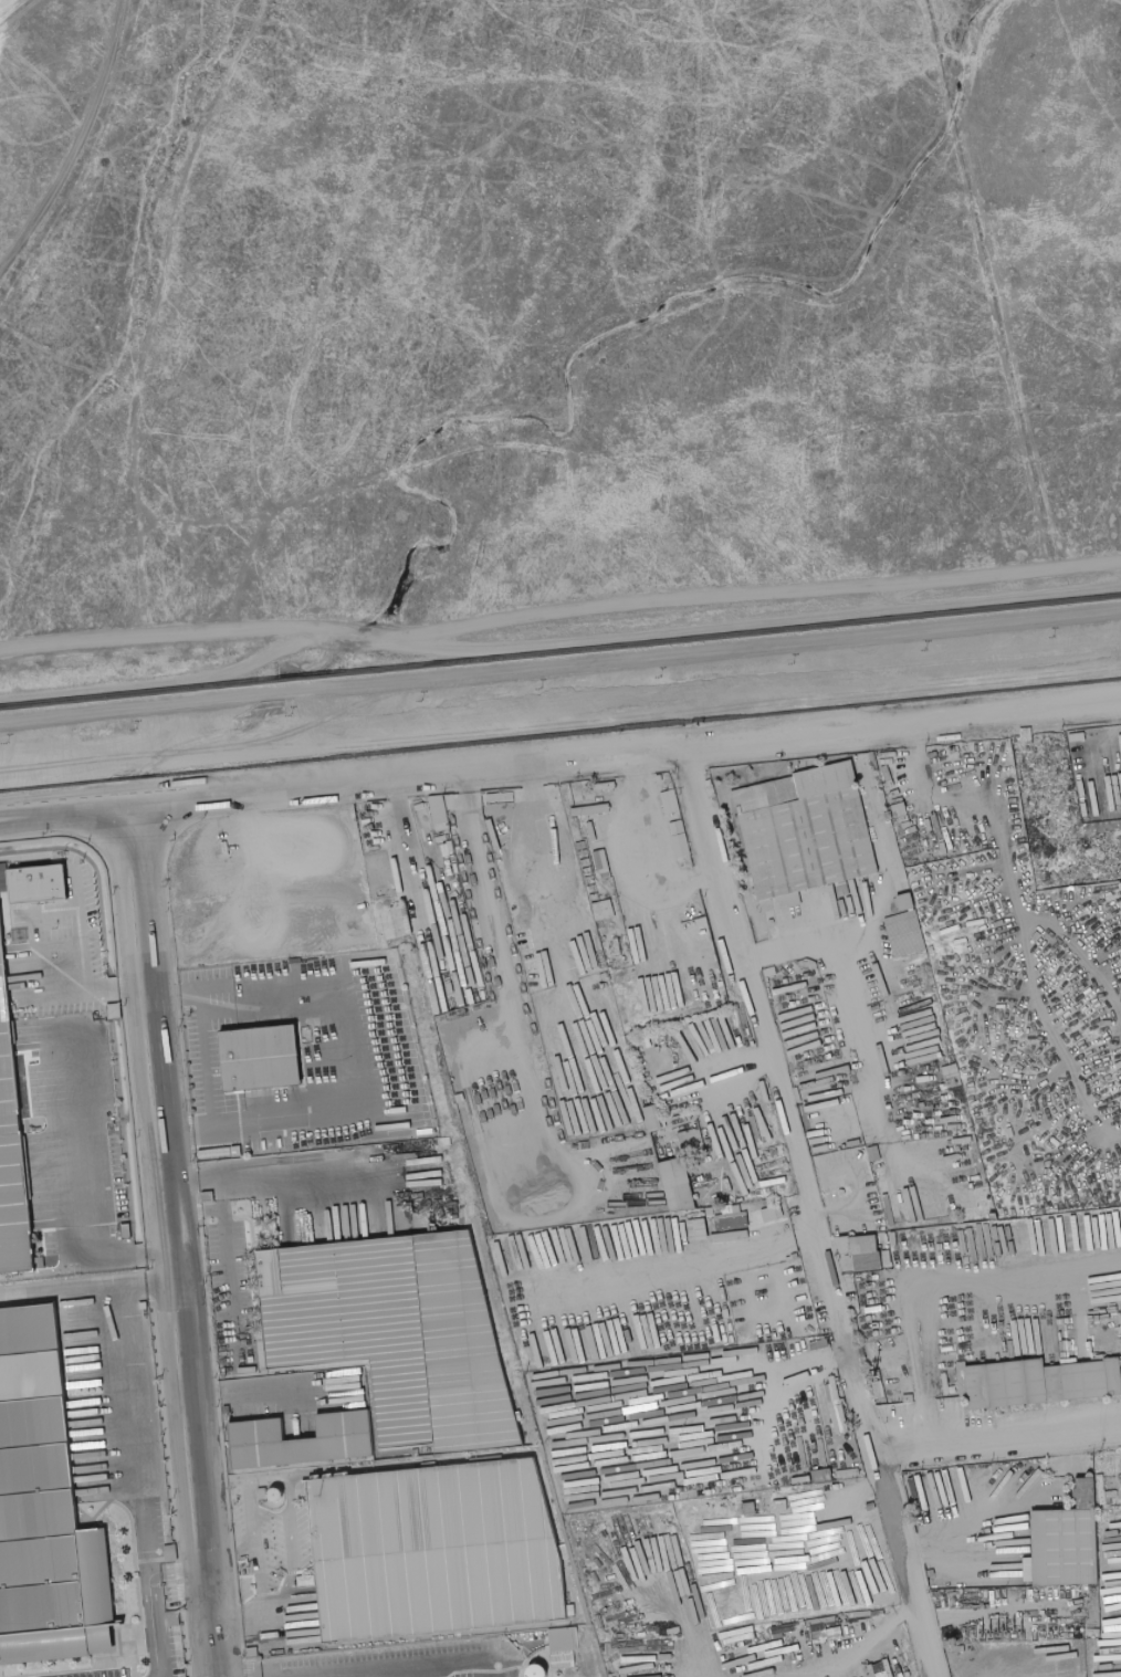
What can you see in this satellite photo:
road: (72, 144)
road: (511, 231)
road: (559, 611)
road: (741, 625)
road: (560, 662)
road: (184, 681)
road: (560, 720)
road: (632, 753)
road: (72, 814)
building: (443, 835)
building: (806, 862)
building: (586, 867)
building: (457, 882)
building: (39, 884)
building: (842, 888)
road: (151, 899)
building: (789, 899)
building: (596, 901)
building: (905, 901)
building: (604, 910)
building: (688, 914)
building: (772, 921)
building: (492, 926)
building: (905, 933)
road: (51, 944)
road: (78, 957)
building: (295, 960)
road: (256, 988)
road: (168, 992)
building: (877, 1006)
building: (115, 1009)
building: (661, 1037)
building: (640, 1040)
road: (343, 1049)
building: (261, 1055)
parking lot: (203, 1058)
road: (207, 1060)
building: (448, 1060)
building: (952, 1076)
building: (942, 1086)
road: (780, 1099)
building: (858, 1099)
building: (653, 1118)
building: (45, 1120)
building: (687, 1121)
road: (271, 1122)
building: (663, 1122)
building: (11, 1133)
road: (166, 1133)
building: (692, 1141)
building: (904, 1143)
building: (235, 1151)
building: (874, 1153)
road: (87, 1177)
road: (276, 1180)
building: (853, 1180)
road: (207, 1184)
building: (678, 1184)
road: (171, 1186)
building: (206, 1197)
building: (777, 1210)
building: (993, 1216)
building: (733, 1220)
building: (342, 1227)
building: (127, 1230)
road: (153, 1244)
building: (880, 1247)
building: (866, 1252)
building: (847, 1255)
building: (838, 1256)
building: (36, 1268)
road: (228, 1271)
building: (860, 1275)
road: (56, 1292)
parking lot: (224, 1292)
building: (144, 1304)
building: (146, 1311)
building: (397, 1333)
road: (189, 1334)
building: (798, 1341)
building: (1037, 1382)
road: (273, 1394)
road: (195, 1404)
building: (228, 1408)
building: (301, 1440)
road: (129, 1448)
building: (821, 1476)
building: (46, 1500)
building: (755, 1508)
parking lot: (269, 1528)
building: (1064, 1543)
building: (431, 1548)
building: (564, 1644)
parking lot: (428, 1658)

